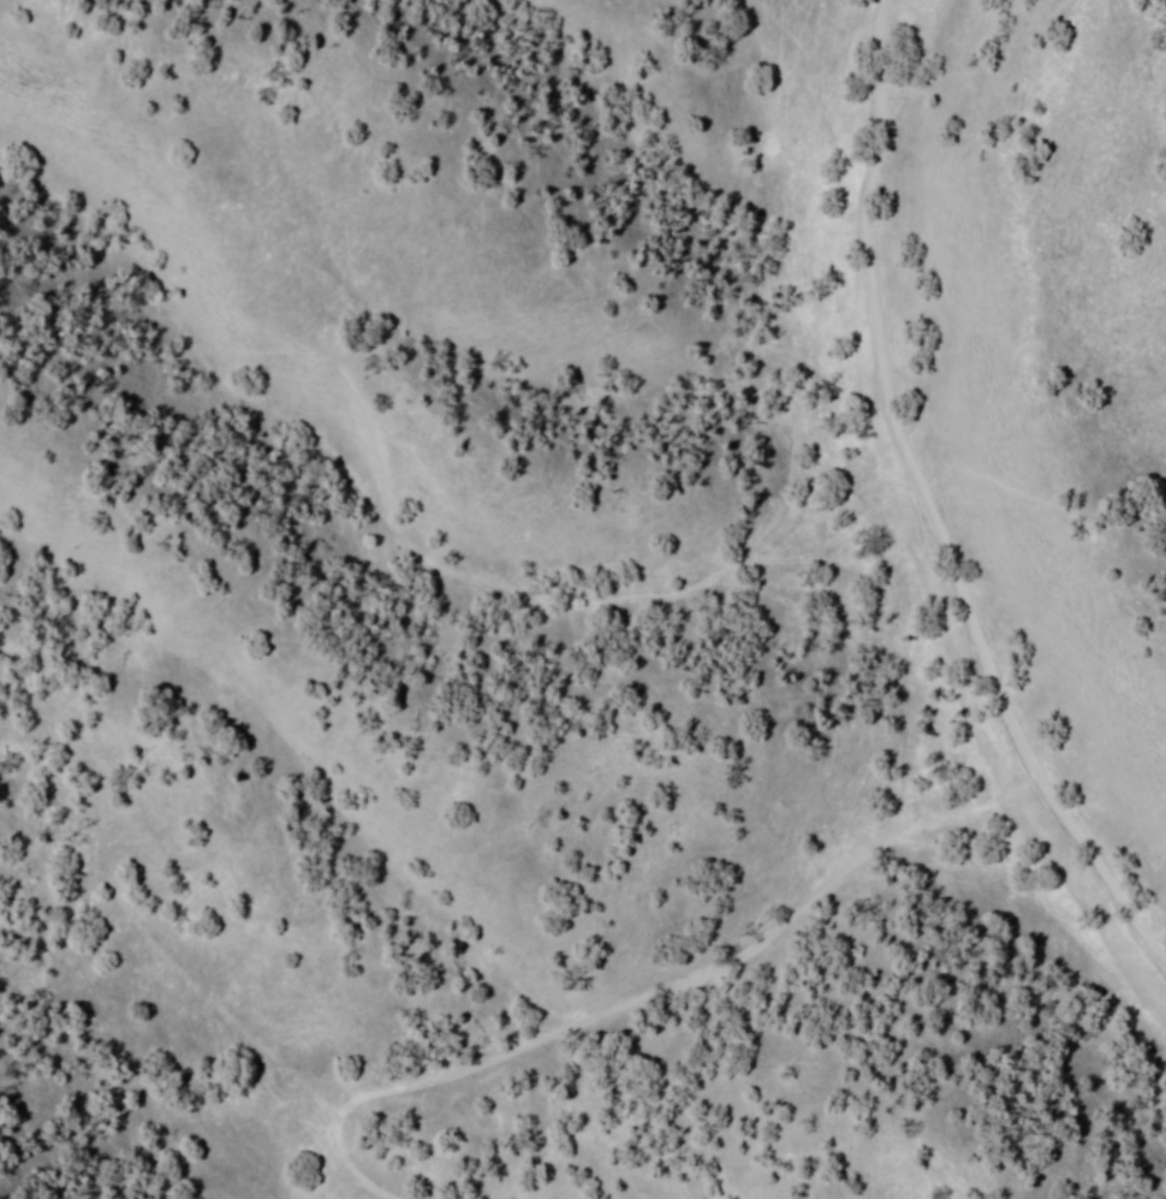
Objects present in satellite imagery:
road: (934, 486)

